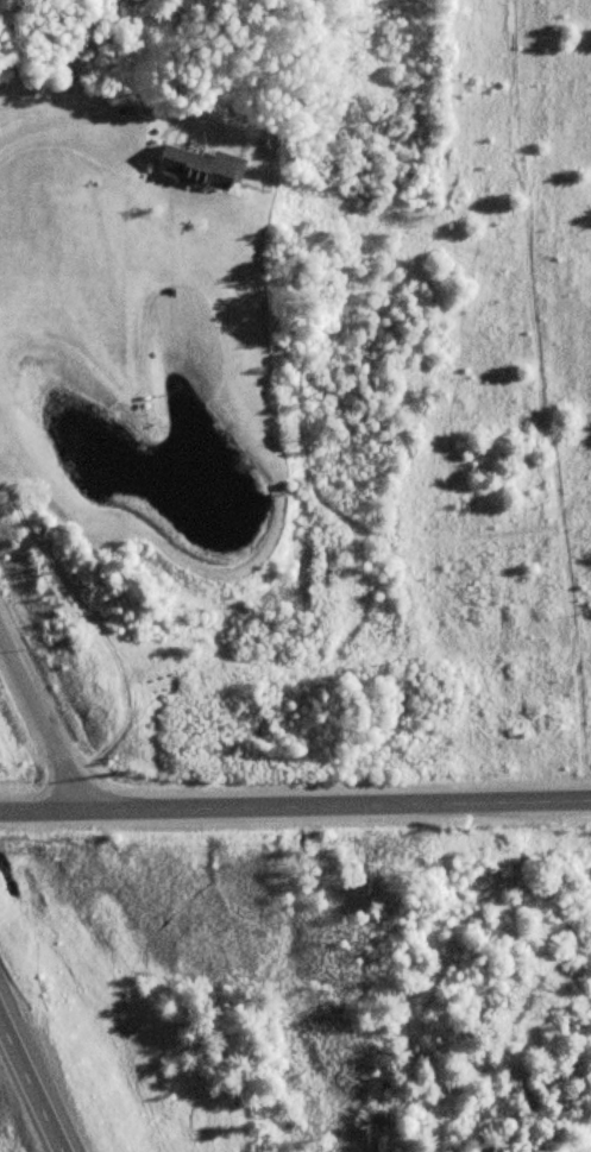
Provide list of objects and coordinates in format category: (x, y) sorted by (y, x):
building: (196, 168)
road: (40, 717)
road: (295, 807)
road: (36, 1075)

